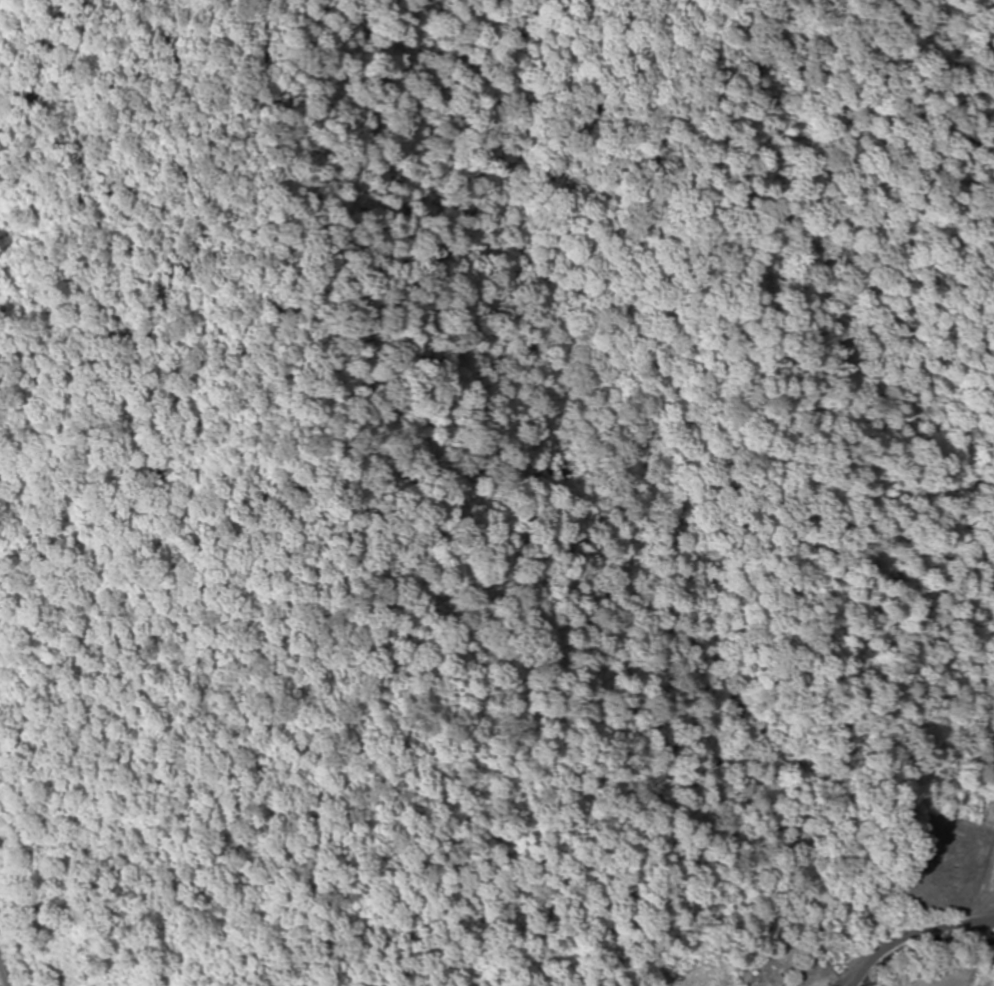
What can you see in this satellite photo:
road: (919, 952)

